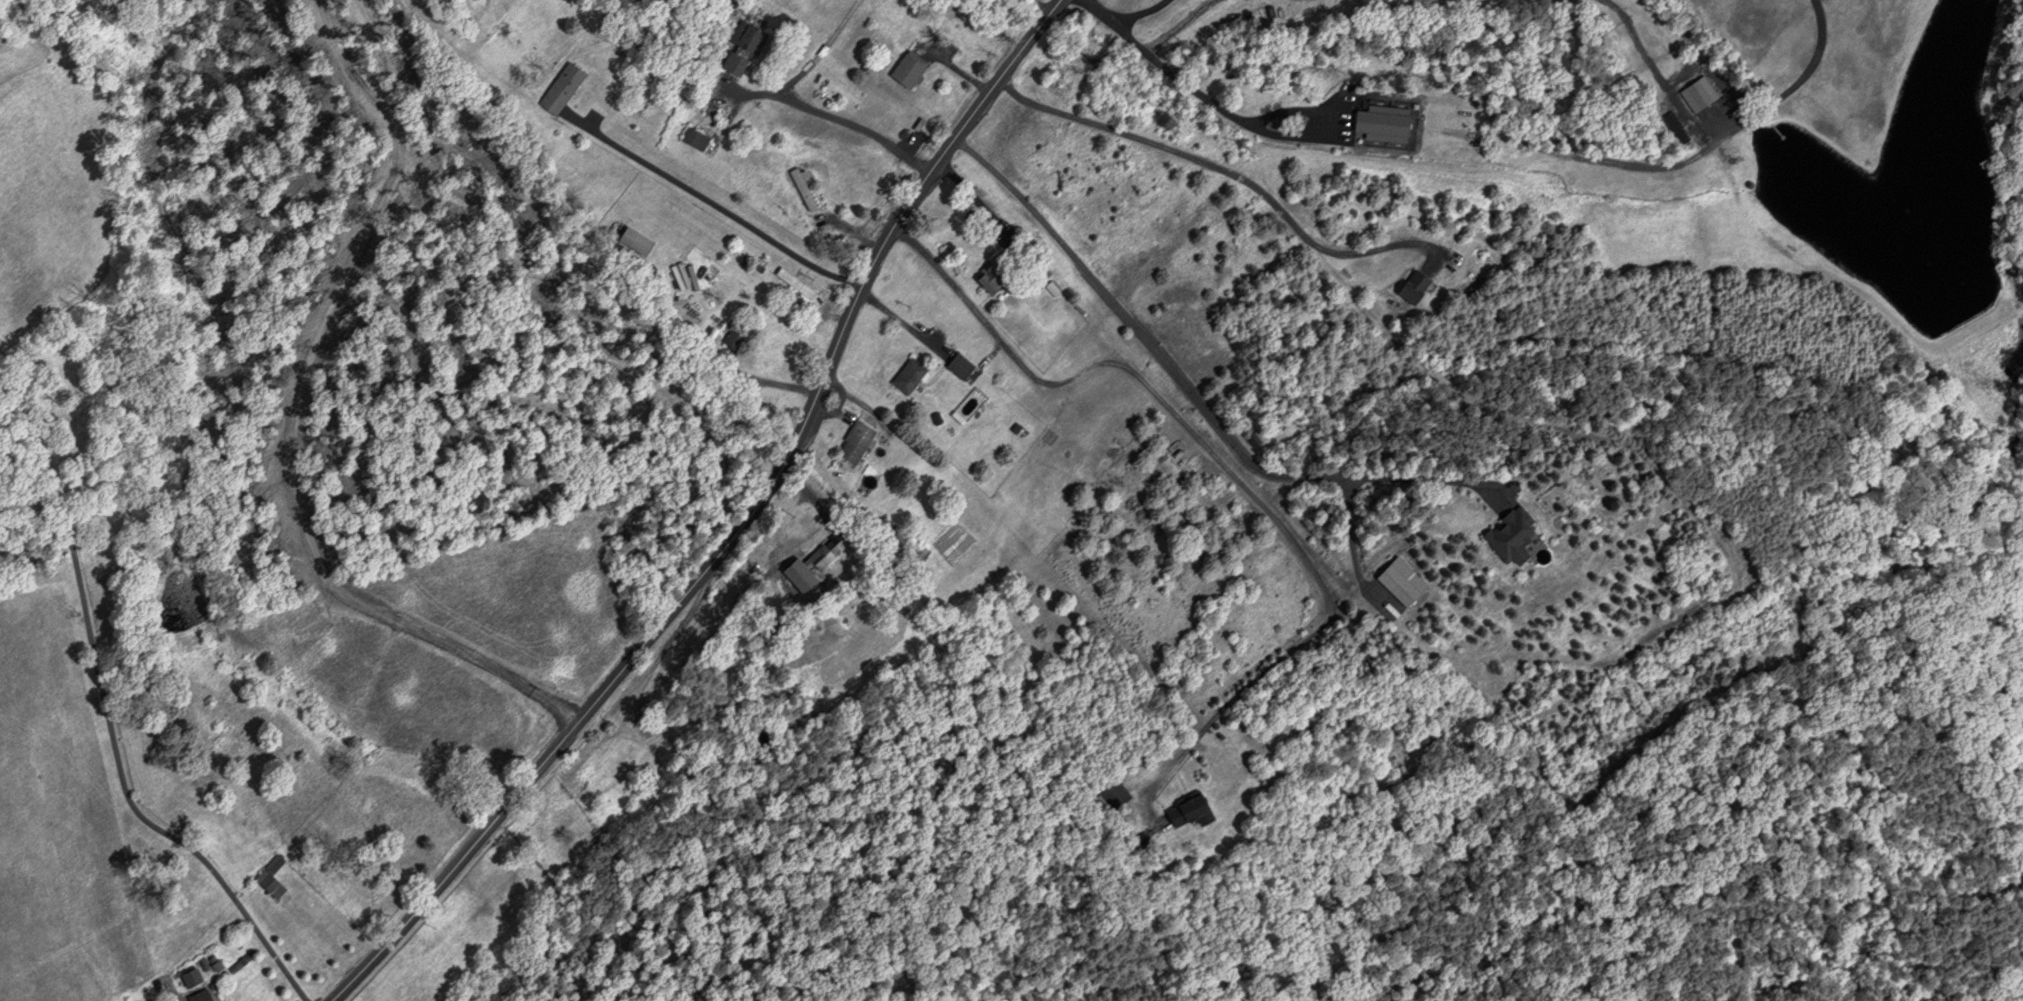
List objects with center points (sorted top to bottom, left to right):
road: (1038, 7)
road: (1137, 15)
building: (1795, 43)
building: (748, 49)
road: (1163, 66)
building: (911, 70)
building: (563, 88)
road: (1789, 88)
building: (1700, 94)
road: (833, 116)
road: (1340, 116)
building: (1386, 122)
building: (692, 136)
road: (1223, 171)
building: (803, 189)
road: (967, 194)
road: (711, 202)
building: (640, 240)
building: (995, 276)
building: (798, 283)
building: (1416, 287)
road: (1140, 335)
building: (963, 366)
building: (911, 375)
building: (859, 441)
road: (1217, 462)
road: (1429, 480)
road: (736, 529)
building: (1514, 536)
building: (831, 549)
road: (1350, 549)
building: (1403, 582)
road: (105, 713)
building: (1117, 794)
building: (1195, 810)
building: (272, 877)
building: (201, 995)

